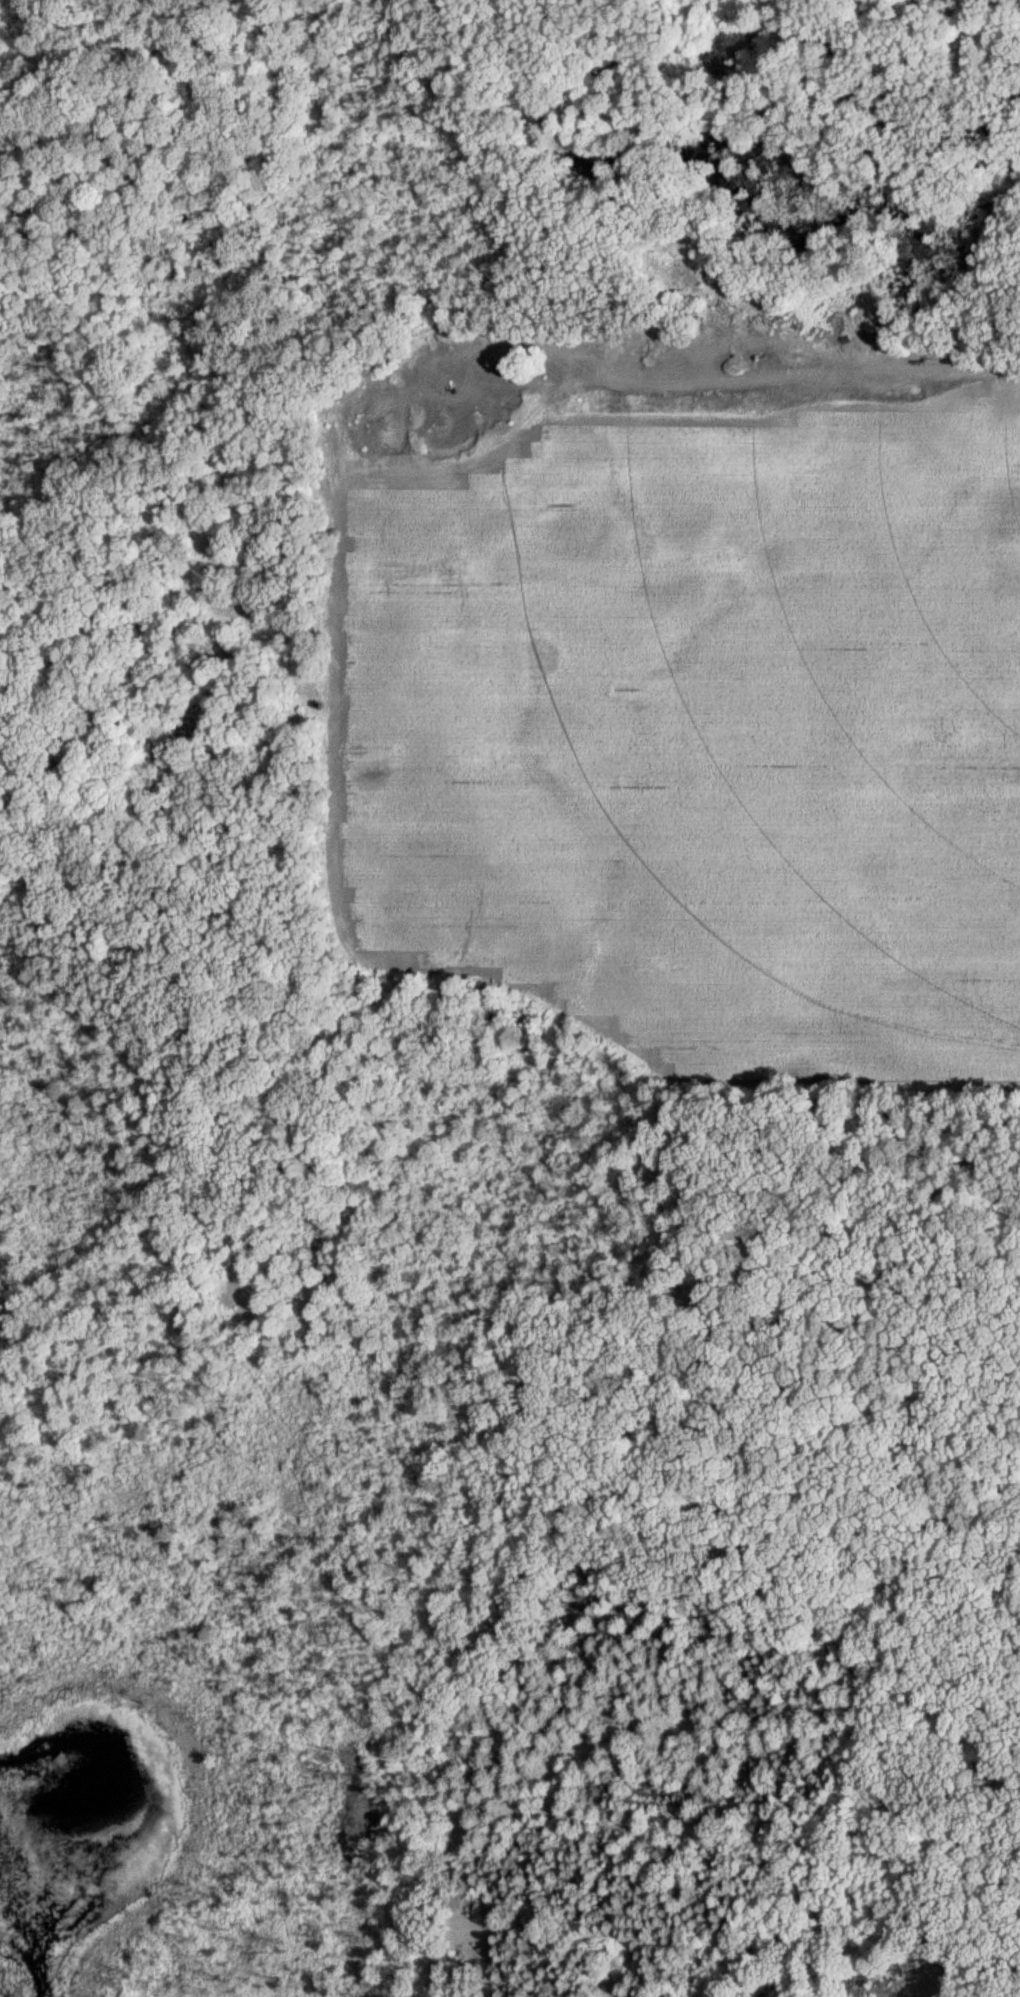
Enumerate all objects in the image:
road: (802, 348)

